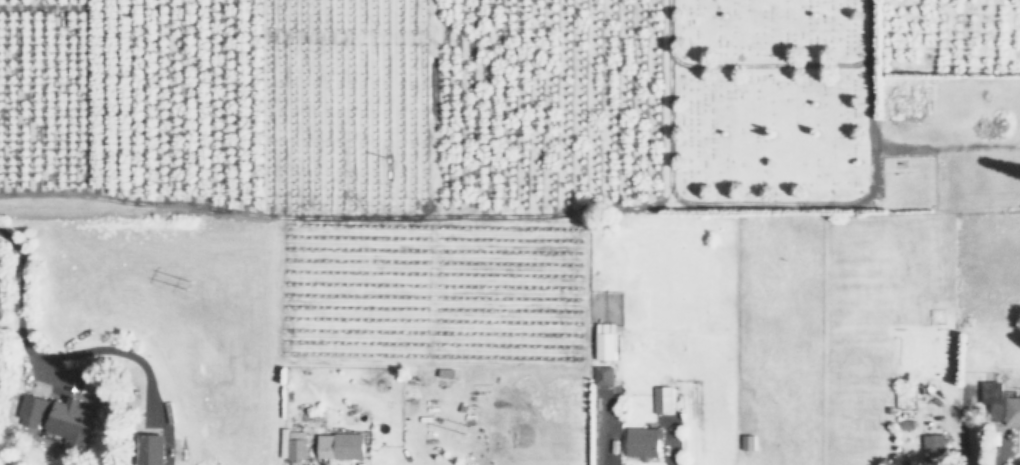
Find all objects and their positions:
road: (768, 64)
park: (765, 97)
road: (766, 202)
road: (336, 215)
road: (17, 303)
building: (602, 345)
building: (601, 375)
building: (660, 405)
building: (998, 405)
building: (30, 409)
building: (70, 420)
building: (745, 441)
building: (641, 442)
building: (297, 444)
building: (340, 444)
building: (150, 448)
building: (931, 449)

